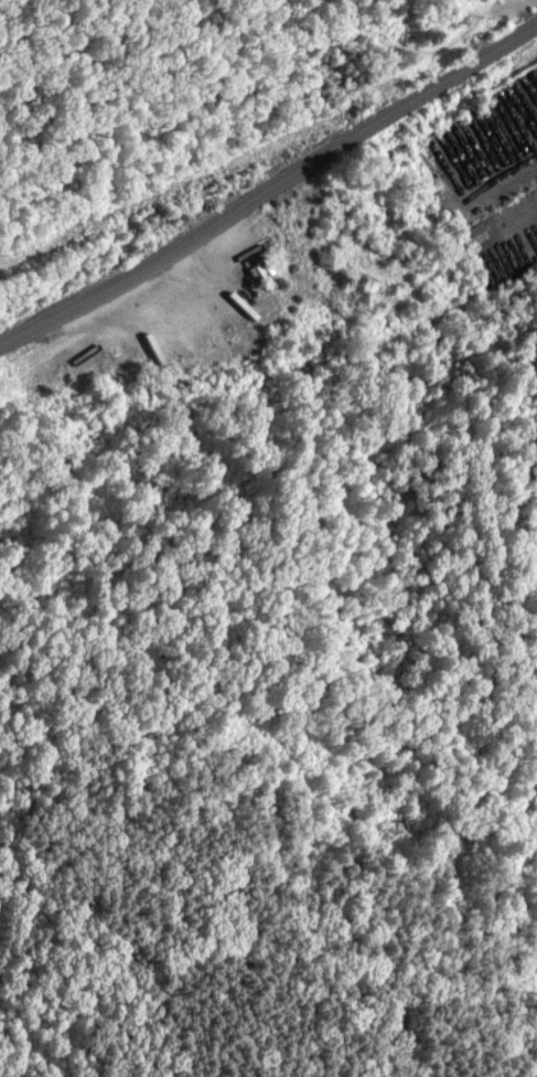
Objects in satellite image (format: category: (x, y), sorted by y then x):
road: (271, 189)
building: (479, 235)

